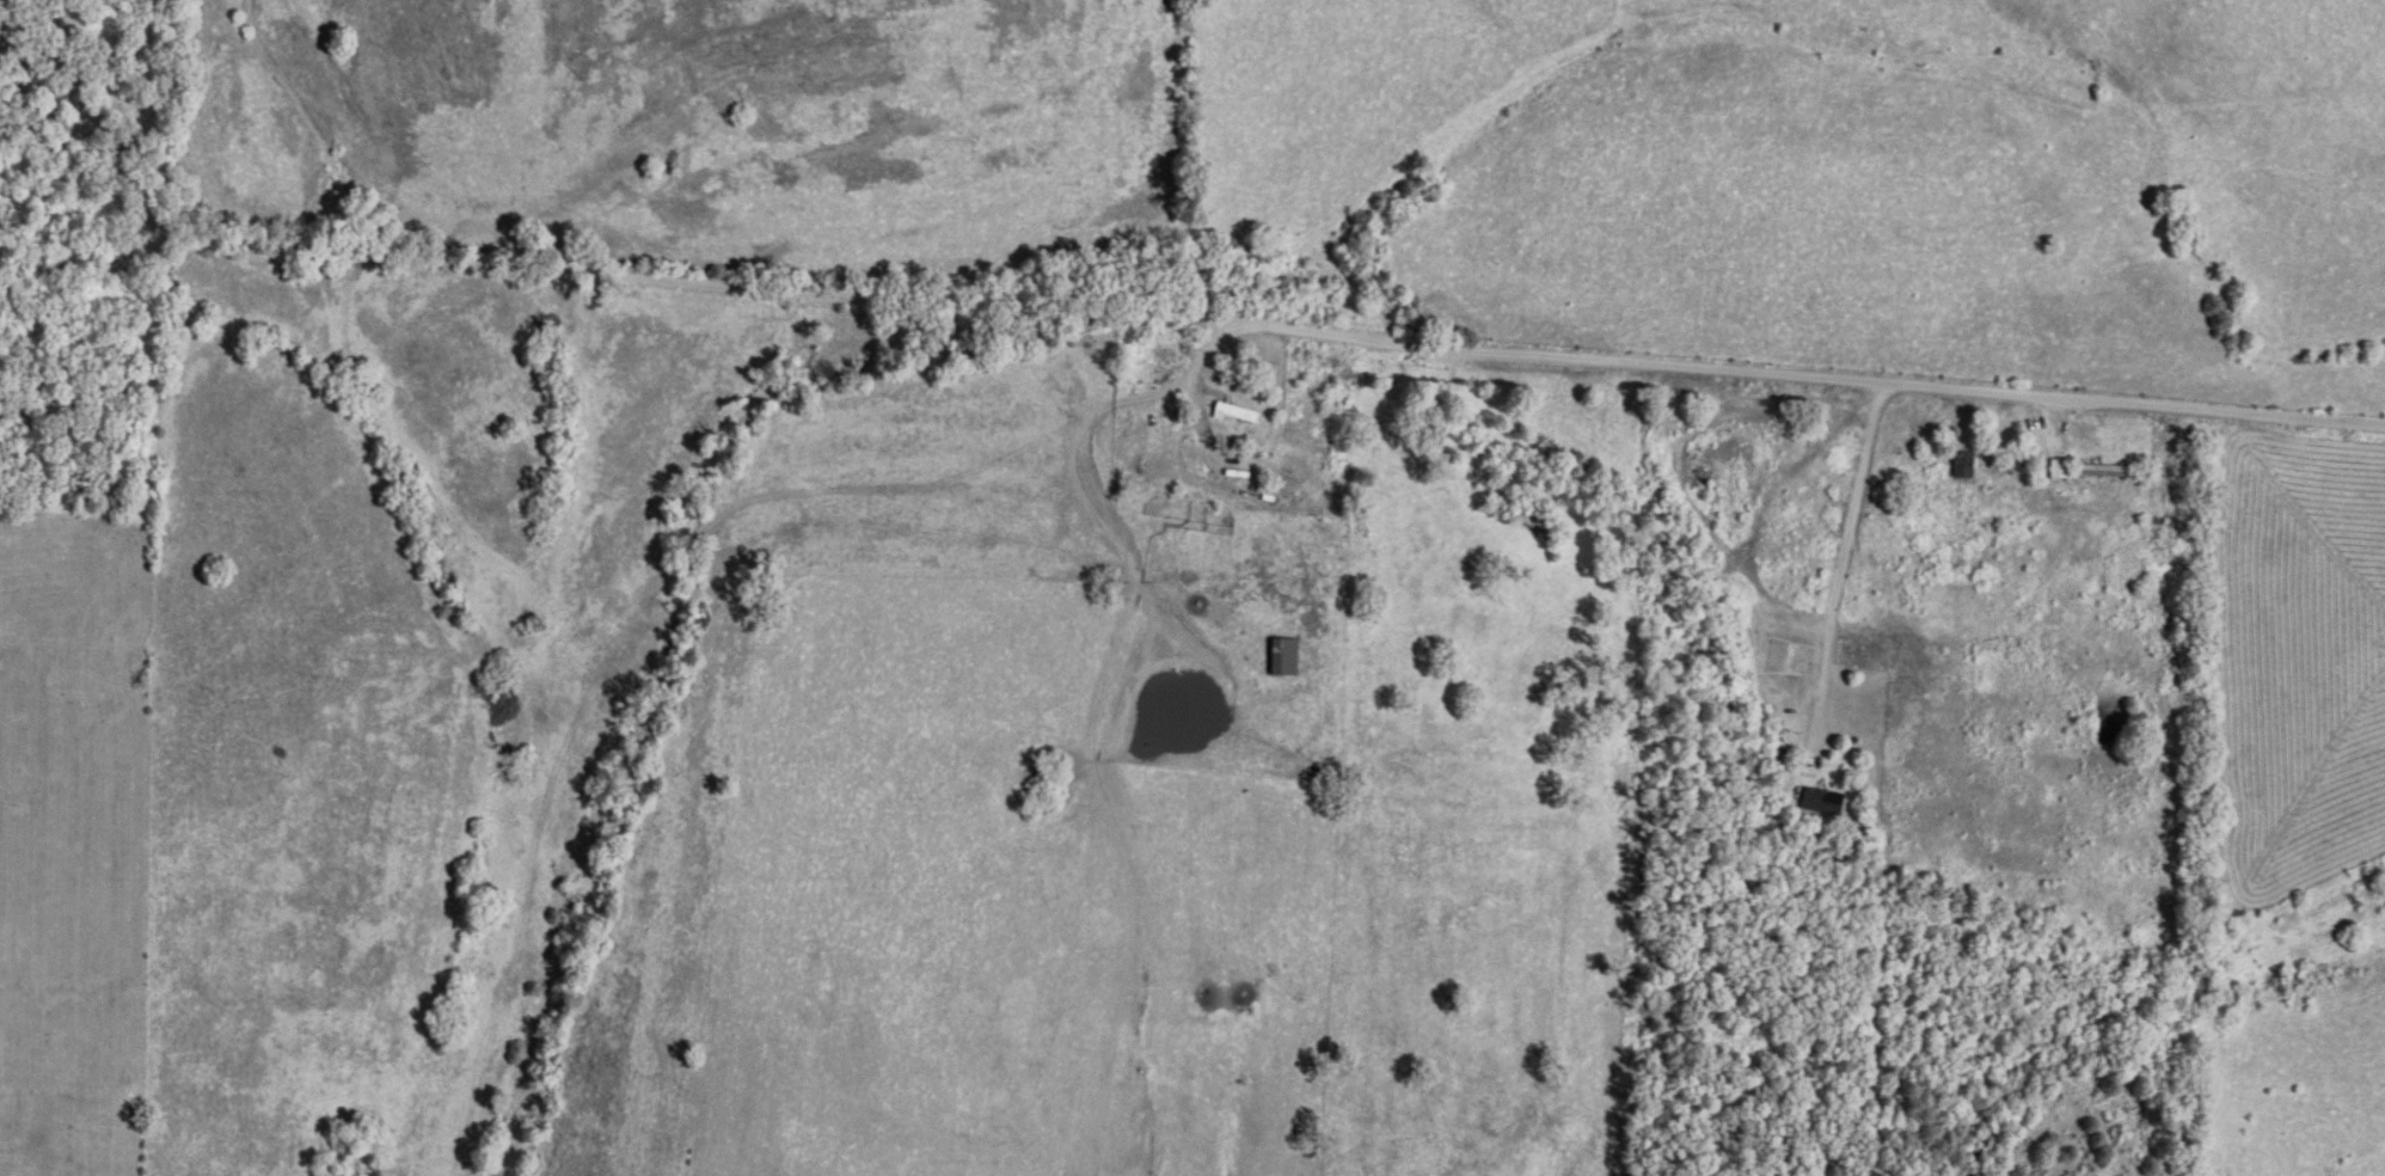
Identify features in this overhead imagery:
road: (1189, 324)
building: (1231, 411)
building: (1276, 655)
building: (1817, 800)

